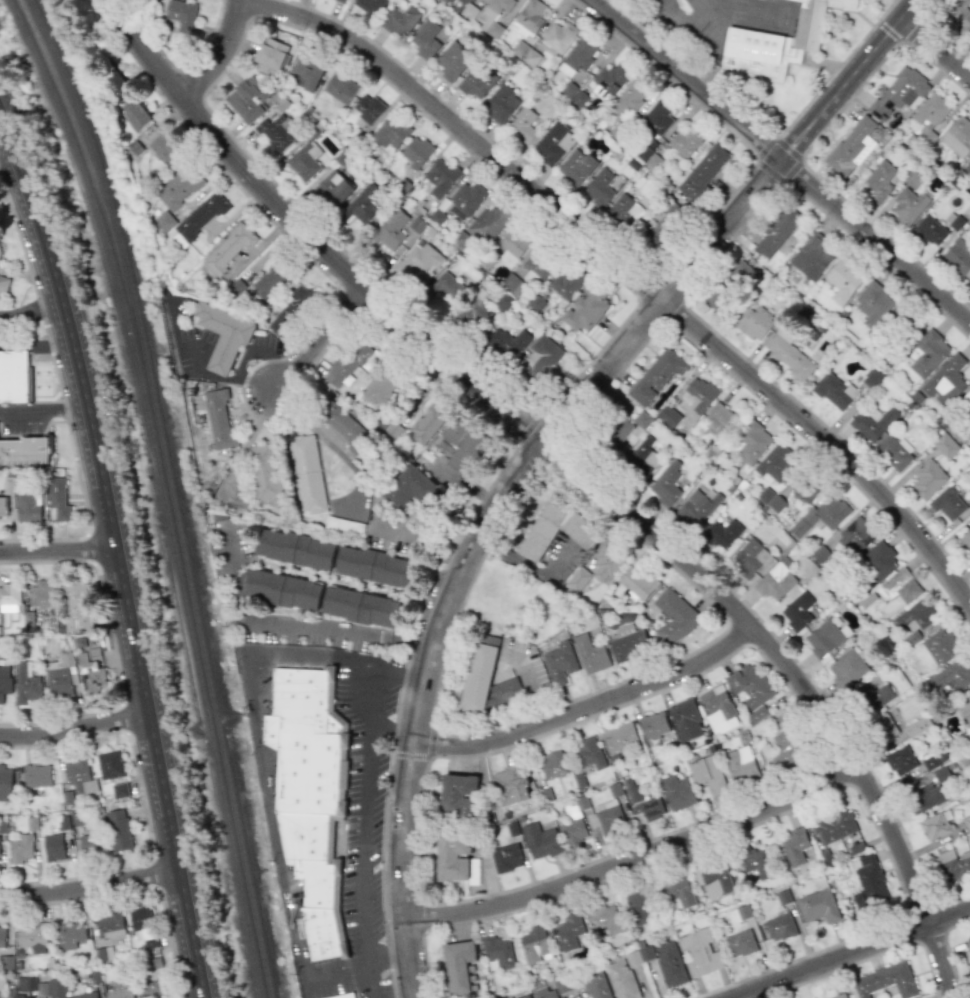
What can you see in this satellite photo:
building: (341, 1)
building: (500, 5)
building: (368, 6)
building: (182, 14)
building: (531, 15)
building: (960, 15)
building: (400, 20)
building: (494, 29)
building: (521, 30)
building: (559, 37)
building: (426, 39)
building: (779, 41)
road: (936, 50)
building: (526, 53)
building: (581, 54)
building: (271, 55)
road: (221, 57)
building: (452, 60)
building: (566, 70)
building: (307, 72)
building: (609, 79)
building: (113, 81)
building: (476, 83)
building: (340, 87)
building: (899, 91)
building: (246, 98)
building: (628, 99)
building: (501, 104)
building: (368, 108)
building: (932, 112)
building: (135, 114)
building: (657, 116)
building: (523, 124)
road: (758, 129)
building: (390, 131)
building: (277, 132)
building: (958, 136)
building: (685, 141)
building: (553, 143)
building: (851, 146)
building: (163, 148)
building: (416, 152)
building: (649, 158)
building: (304, 161)
road: (782, 162)
building: (576, 167)
building: (968, 167)
building: (703, 171)
building: (438, 177)
building: (879, 180)
building: (599, 187)
building: (179, 188)
building: (332, 188)
building: (465, 200)
building: (361, 204)
building: (908, 206)
building: (625, 210)
building: (201, 215)
building: (164, 221)
building: (489, 221)
road: (732, 222)
building: (664, 224)
building: (390, 230)
building: (931, 230)
building: (777, 232)
road: (307, 237)
building: (514, 242)
building: (229, 248)
building: (958, 255)
building: (811, 257)
building: (419, 261)
building: (538, 264)
road: (626, 275)
building: (843, 280)
building: (269, 281)
building: (566, 281)
building: (968, 281)
building: (730, 286)
building: (444, 287)
building: (3, 290)
building: (872, 302)
building: (502, 303)
building: (585, 308)
road: (29, 310)
building: (291, 310)
building: (472, 313)
building: (755, 323)
building: (224, 335)
road: (320, 342)
building: (506, 342)
road: (36, 343)
building: (928, 353)
building: (789, 354)
building: (542, 356)
building: (352, 361)
building: (657, 375)
building: (13, 376)
building: (873, 379)
road: (223, 380)
building: (946, 380)
building: (384, 382)
building: (834, 390)
building: (695, 398)
building: (966, 401)
road: (44, 409)
building: (669, 416)
building: (219, 417)
building: (383, 418)
building: (642, 419)
building: (719, 421)
building: (427, 422)
building: (873, 422)
building: (343, 423)
building: (621, 430)
building: (750, 442)
road: (328, 445)
building: (464, 445)
building: (945, 445)
building: (24, 451)
building: (895, 452)
building: (644, 457)
building: (775, 464)
building: (265, 471)
building: (307, 472)
building: (928, 479)
building: (666, 483)
building: (8, 485)
building: (412, 487)
railway: (166, 490)
railway: (175, 492)
building: (804, 492)
railway: (197, 493)
building: (58, 499)
building: (772, 500)
building: (947, 503)
building: (696, 507)
building: (3, 508)
building: (28, 508)
building: (821, 515)
building: (344, 524)
building: (556, 529)
building: (722, 533)
building: (856, 536)
building: (966, 540)
building: (296, 546)
road: (421, 546)
road: (56, 548)
building: (610, 557)
building: (750, 557)
road: (115, 559)
parking lot: (559, 559)
building: (878, 561)
building: (375, 564)
road: (529, 566)
building: (578, 578)
building: (775, 582)
building: (639, 583)
building: (899, 587)
building: (283, 589)
building: (42, 593)
building: (9, 598)
building: (76, 606)
building: (360, 606)
building: (799, 611)
building: (674, 616)
building: (917, 616)
building: (28, 618)
road: (295, 626)
building: (824, 638)
building: (629, 644)
building: (940, 646)
road: (304, 653)
building: (590, 654)
building: (560, 663)
building: (847, 668)
parking lot: (527, 670)
building: (91, 671)
building: (480, 674)
building: (60, 675)
building: (950, 676)
building: (4, 682)
building: (26, 683)
road: (799, 683)
building: (750, 686)
building: (504, 696)
building: (874, 701)
building: (718, 702)
road: (592, 705)
road: (433, 706)
road: (426, 708)
building: (964, 709)
building: (757, 714)
road: (478, 716)
building: (685, 720)
building: (653, 724)
building: (917, 726)
road: (75, 727)
building: (884, 727)
building: (621, 738)
building: (790, 741)
road: (431, 744)
building: (589, 751)
road: (410, 756)
building: (900, 760)
building: (930, 762)
building: (111, 764)
building: (553, 764)
building: (741, 765)
building: (708, 774)
building: (37, 776)
building: (79, 777)
building: (5, 783)
building: (509, 785)
building: (120, 790)
building: (677, 792)
building: (459, 793)
building: (310, 797)
building: (925, 797)
building: (650, 806)
building: (611, 820)
building: (967, 823)
building: (936, 825)
building: (835, 827)
building: (119, 830)
building: (574, 832)
building: (540, 840)
building: (91, 844)
building: (794, 846)
building: (54, 847)
building: (20, 849)
building: (453, 856)
building: (507, 857)
road: (631, 858)
building: (756, 862)
building: (954, 865)
building: (713, 878)
building: (868, 881)
building: (679, 890)
road: (91, 891)
building: (640, 905)
building: (817, 905)
building: (739, 913)
building: (606, 918)
building: (109, 925)
building: (143, 927)
building: (780, 927)
building: (569, 931)
building: (70, 933)
building: (2, 936)
building: (33, 936)
building: (969, 938)
building: (740, 943)
building: (534, 945)
building: (498, 951)
building: (699, 952)
road: (852, 953)
building: (103, 954)
building: (640, 956)
road: (360, 960)
building: (669, 963)
building: (154, 964)
building: (459, 966)
road: (370, 978)
building: (621, 979)
building: (885, 981)
building: (25, 984)
building: (597, 985)
building: (562, 986)
building: (57, 988)
building: (154, 989)
building: (119, 993)
building: (545, 993)
building: (86, 995)
building: (19, 996)
building: (343, 996)
building: (839, 996)
building: (526, 997)

